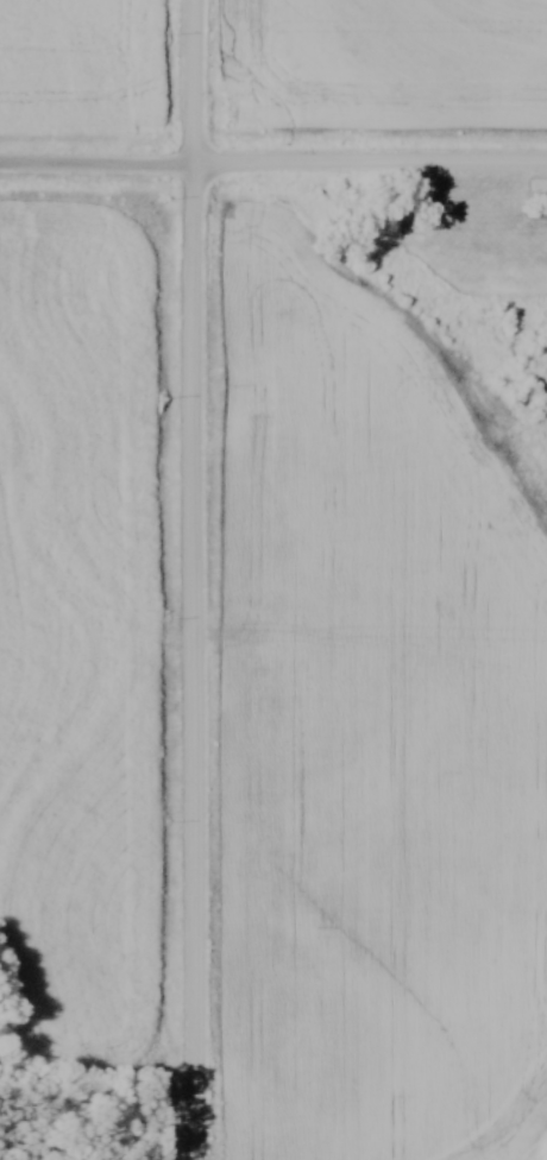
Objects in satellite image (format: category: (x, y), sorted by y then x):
road: (273, 163)
building: (539, 184)
road: (194, 579)

